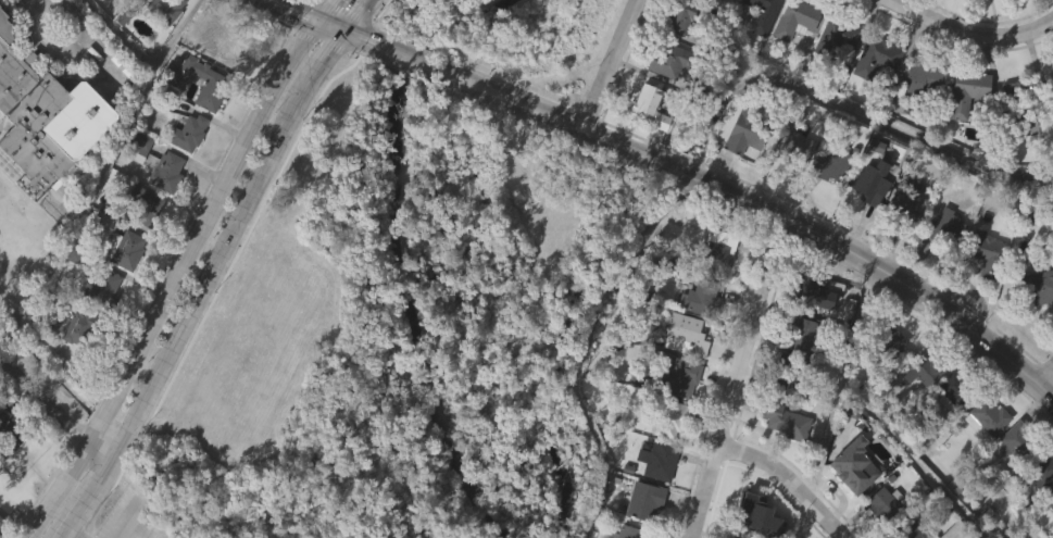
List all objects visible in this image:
building: (894, 0)
building: (309, 2)
building: (1033, 7)
building: (931, 8)
building: (160, 9)
road: (52, 10)
road: (289, 11)
building: (127, 14)
building: (763, 14)
building: (688, 16)
road: (360, 18)
building: (797, 18)
building: (981, 21)
road: (331, 29)
road: (971, 32)
building: (836, 37)
road: (355, 41)
building: (224, 42)
building: (162, 46)
building: (757, 47)
building: (877, 57)
building: (673, 59)
building: (792, 59)
road: (409, 63)
road: (607, 66)
road: (318, 68)
building: (1052, 73)
building: (832, 77)
building: (926, 79)
building: (214, 84)
building: (222, 85)
building: (968, 92)
building: (873, 98)
building: (648, 100)
building: (1015, 102)
road: (515, 107)
building: (1051, 113)
building: (46, 115)
building: (919, 122)
building: (211, 124)
building: (1006, 128)
building: (747, 130)
building: (188, 133)
building: (963, 133)
building: (139, 146)
building: (647, 146)
building: (798, 149)
building: (1020, 160)
building: (831, 164)
building: (166, 172)
building: (736, 173)
building: (184, 174)
building: (392, 176)
building: (866, 182)
building: (136, 188)
building: (792, 188)
building: (145, 204)
building: (907, 204)
road: (82, 207)
building: (825, 207)
building: (163, 212)
building: (943, 227)
building: (904, 241)
road: (828, 242)
building: (142, 246)
building: (125, 249)
building: (719, 252)
building: (988, 253)
road: (179, 266)
building: (942, 270)
building: (1039, 286)
building: (716, 288)
building: (102, 289)
building: (122, 289)
road: (204, 289)
building: (814, 293)
building: (982, 295)
building: (702, 299)
park: (409, 303)
building: (1037, 326)
building: (82, 327)
building: (100, 329)
building: (687, 335)
building: (800, 335)
building: (885, 339)
building: (75, 366)
building: (925, 366)
road: (3, 373)
building: (789, 374)
road: (1044, 375)
road: (736, 376)
building: (684, 378)
building: (885, 380)
building: (957, 391)
building: (919, 410)
road: (51, 417)
building: (989, 417)
building: (670, 418)
building: (787, 422)
building: (10, 430)
building: (950, 430)
building: (1018, 442)
building: (435, 455)
building: (983, 458)
building: (661, 461)
building: (781, 462)
building: (1040, 470)
building: (851, 474)
road: (790, 478)
building: (8, 479)
building: (1010, 483)
building: (1050, 500)
building: (644, 501)
road: (86, 503)
building: (850, 505)
building: (886, 505)
parking lot: (129, 517)
building: (760, 520)
road: (134, 527)
building: (910, 527)
building: (631, 533)
road: (2, 535)
road: (65, 537)
road: (66, 537)
building: (732, 537)

